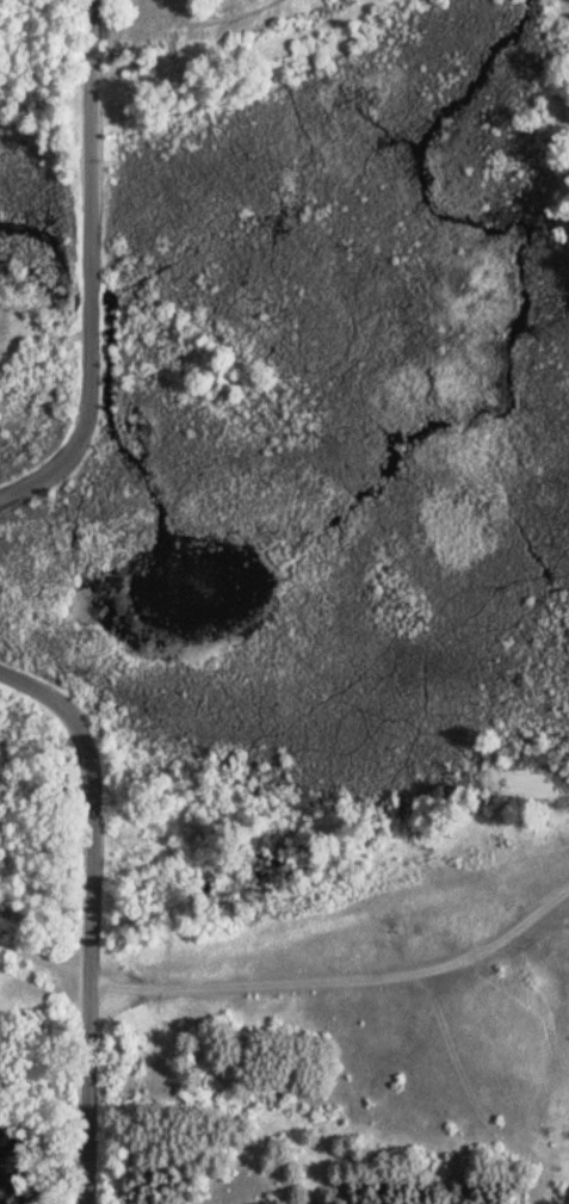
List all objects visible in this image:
road: (563, 1)
road: (242, 62)
road: (98, 274)
road: (86, 915)
road: (296, 1008)

